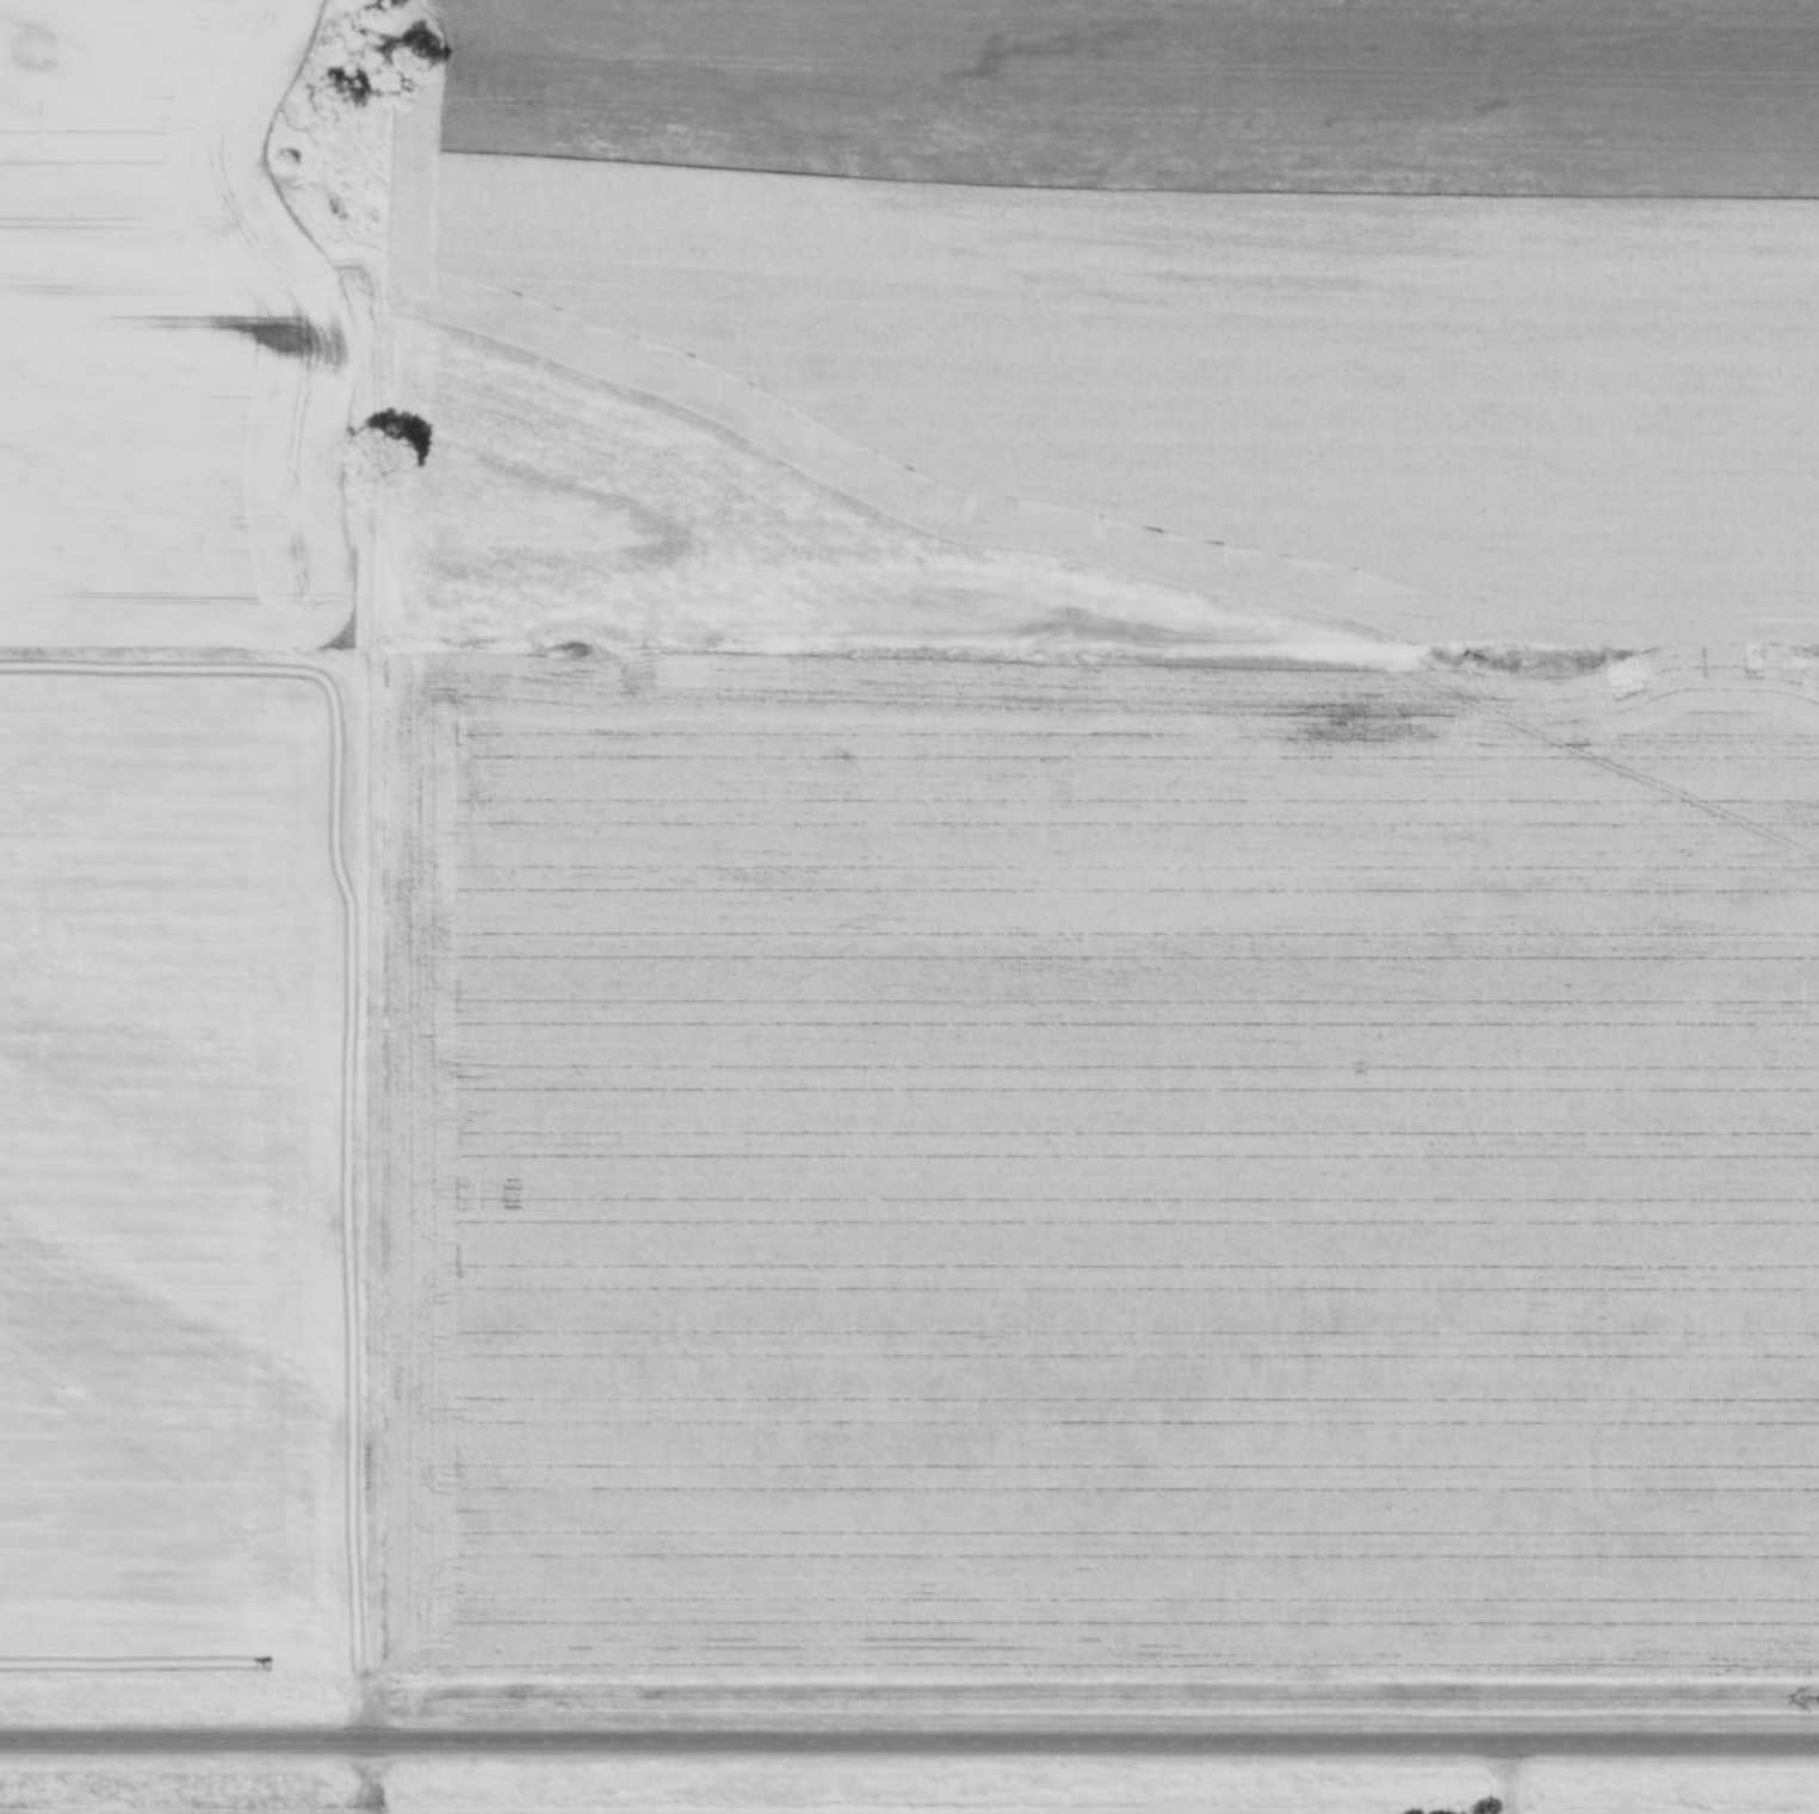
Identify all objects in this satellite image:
road: (909, 1750)

